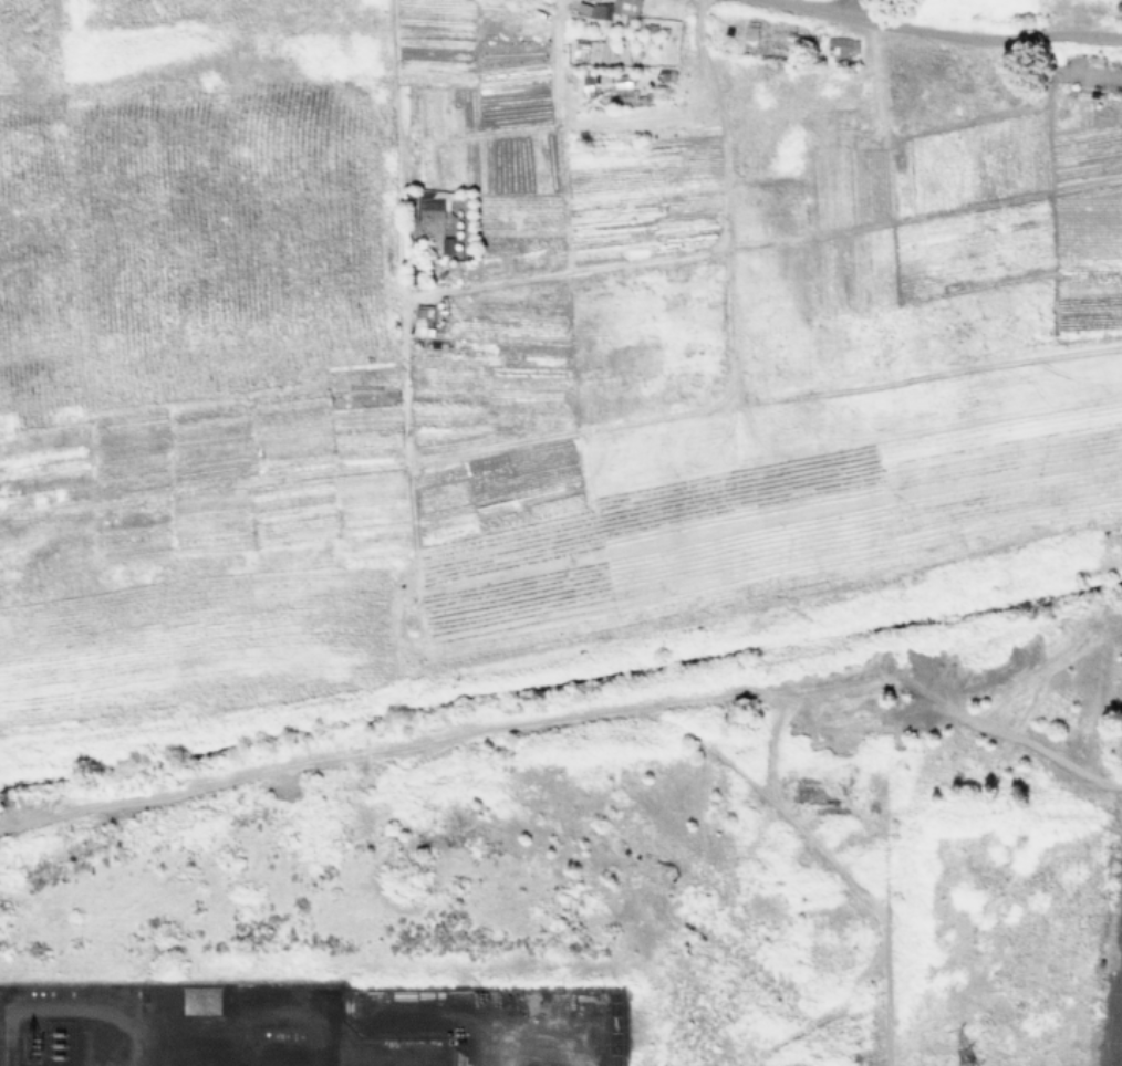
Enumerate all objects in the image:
building: (614, 8)
road: (850, 8)
road: (944, 32)
building: (841, 48)
building: (422, 317)
road: (1119, 964)
parking lot: (1111, 983)
road: (1115, 1015)
power substation: (315, 1027)
road: (1112, 1060)

